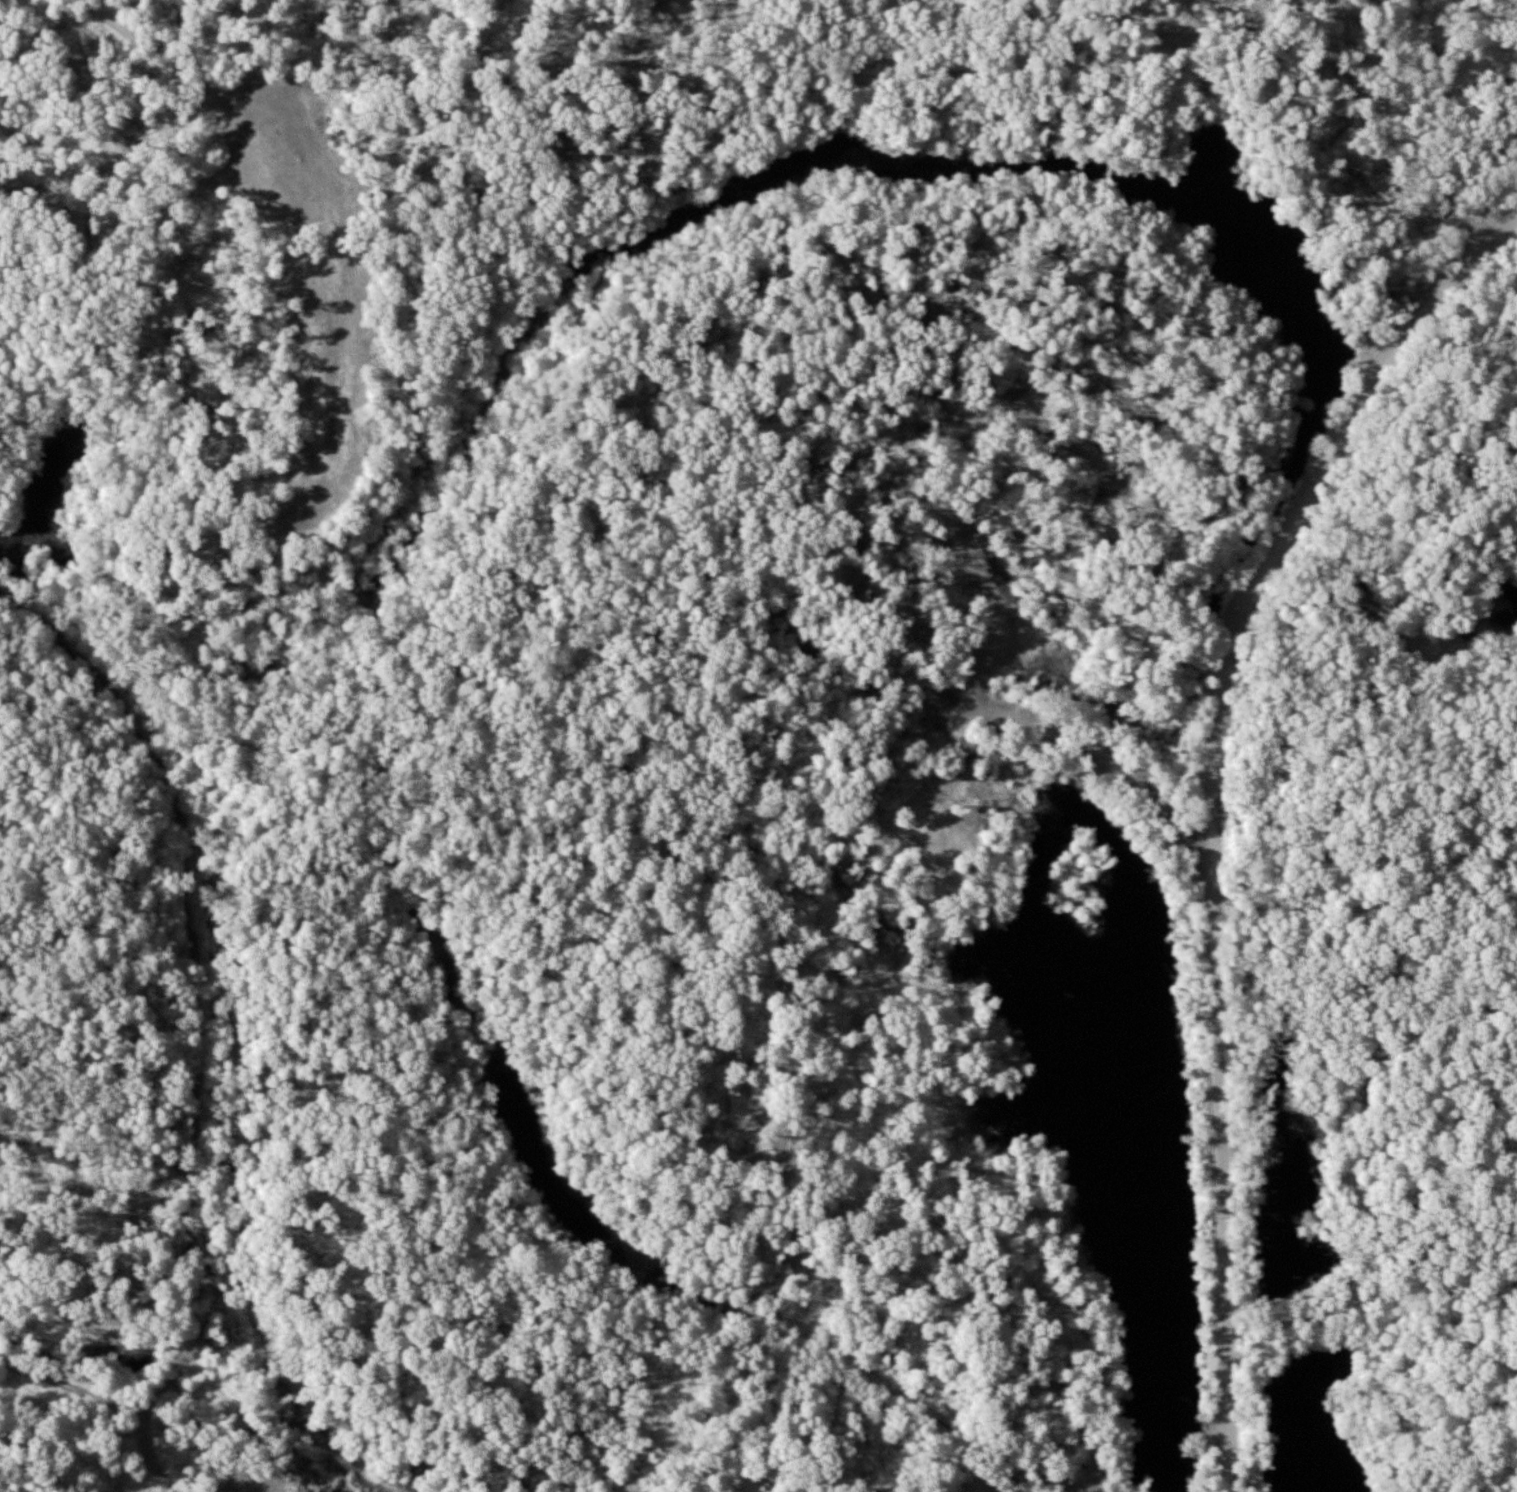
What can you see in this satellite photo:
road: (1215, 808)

